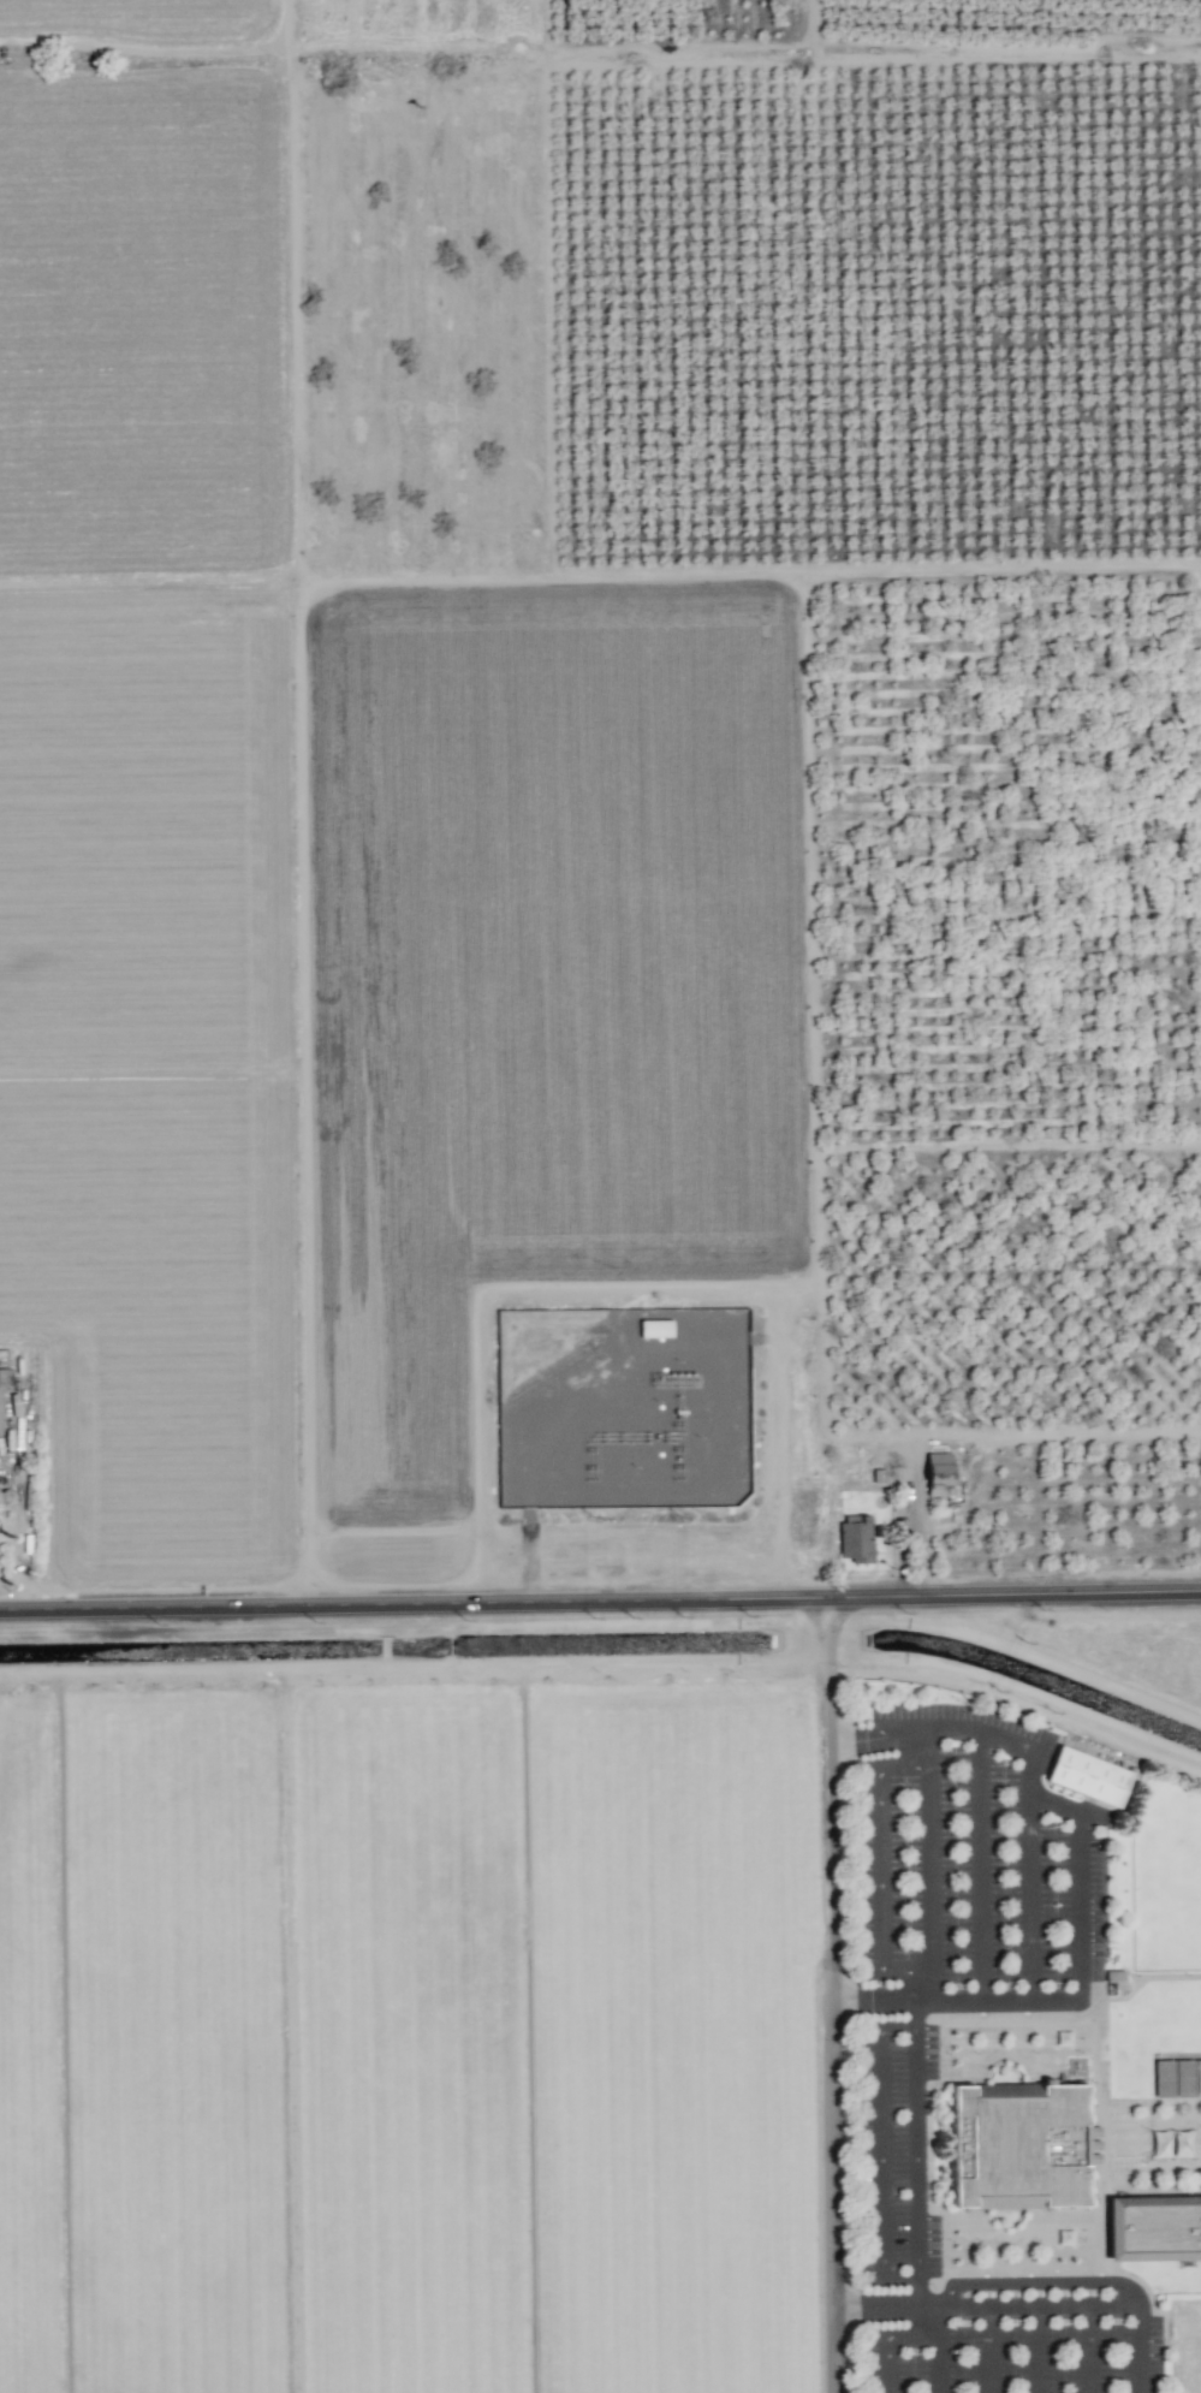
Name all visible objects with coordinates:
crop: (555, 1108)
building: (654, 1329)
building: (1, 1403)
building: (938, 1474)
building: (855, 1538)
road: (600, 1596)
building: (1088, 1776)
road: (1080, 1842)
road: (929, 1865)
road: (870, 2001)
road: (828, 2037)
building: (1183, 2078)
building: (1197, 2078)
building: (1163, 2079)
building: (1018, 2146)
road: (916, 2152)
road: (880, 2155)
building: (1154, 2228)
road: (1041, 2282)
road: (886, 2304)
road: (963, 2306)
road: (1019, 2311)
road: (900, 2336)
road: (1137, 2350)
road: (1089, 2351)
road: (1040, 2352)
road: (938, 2364)

